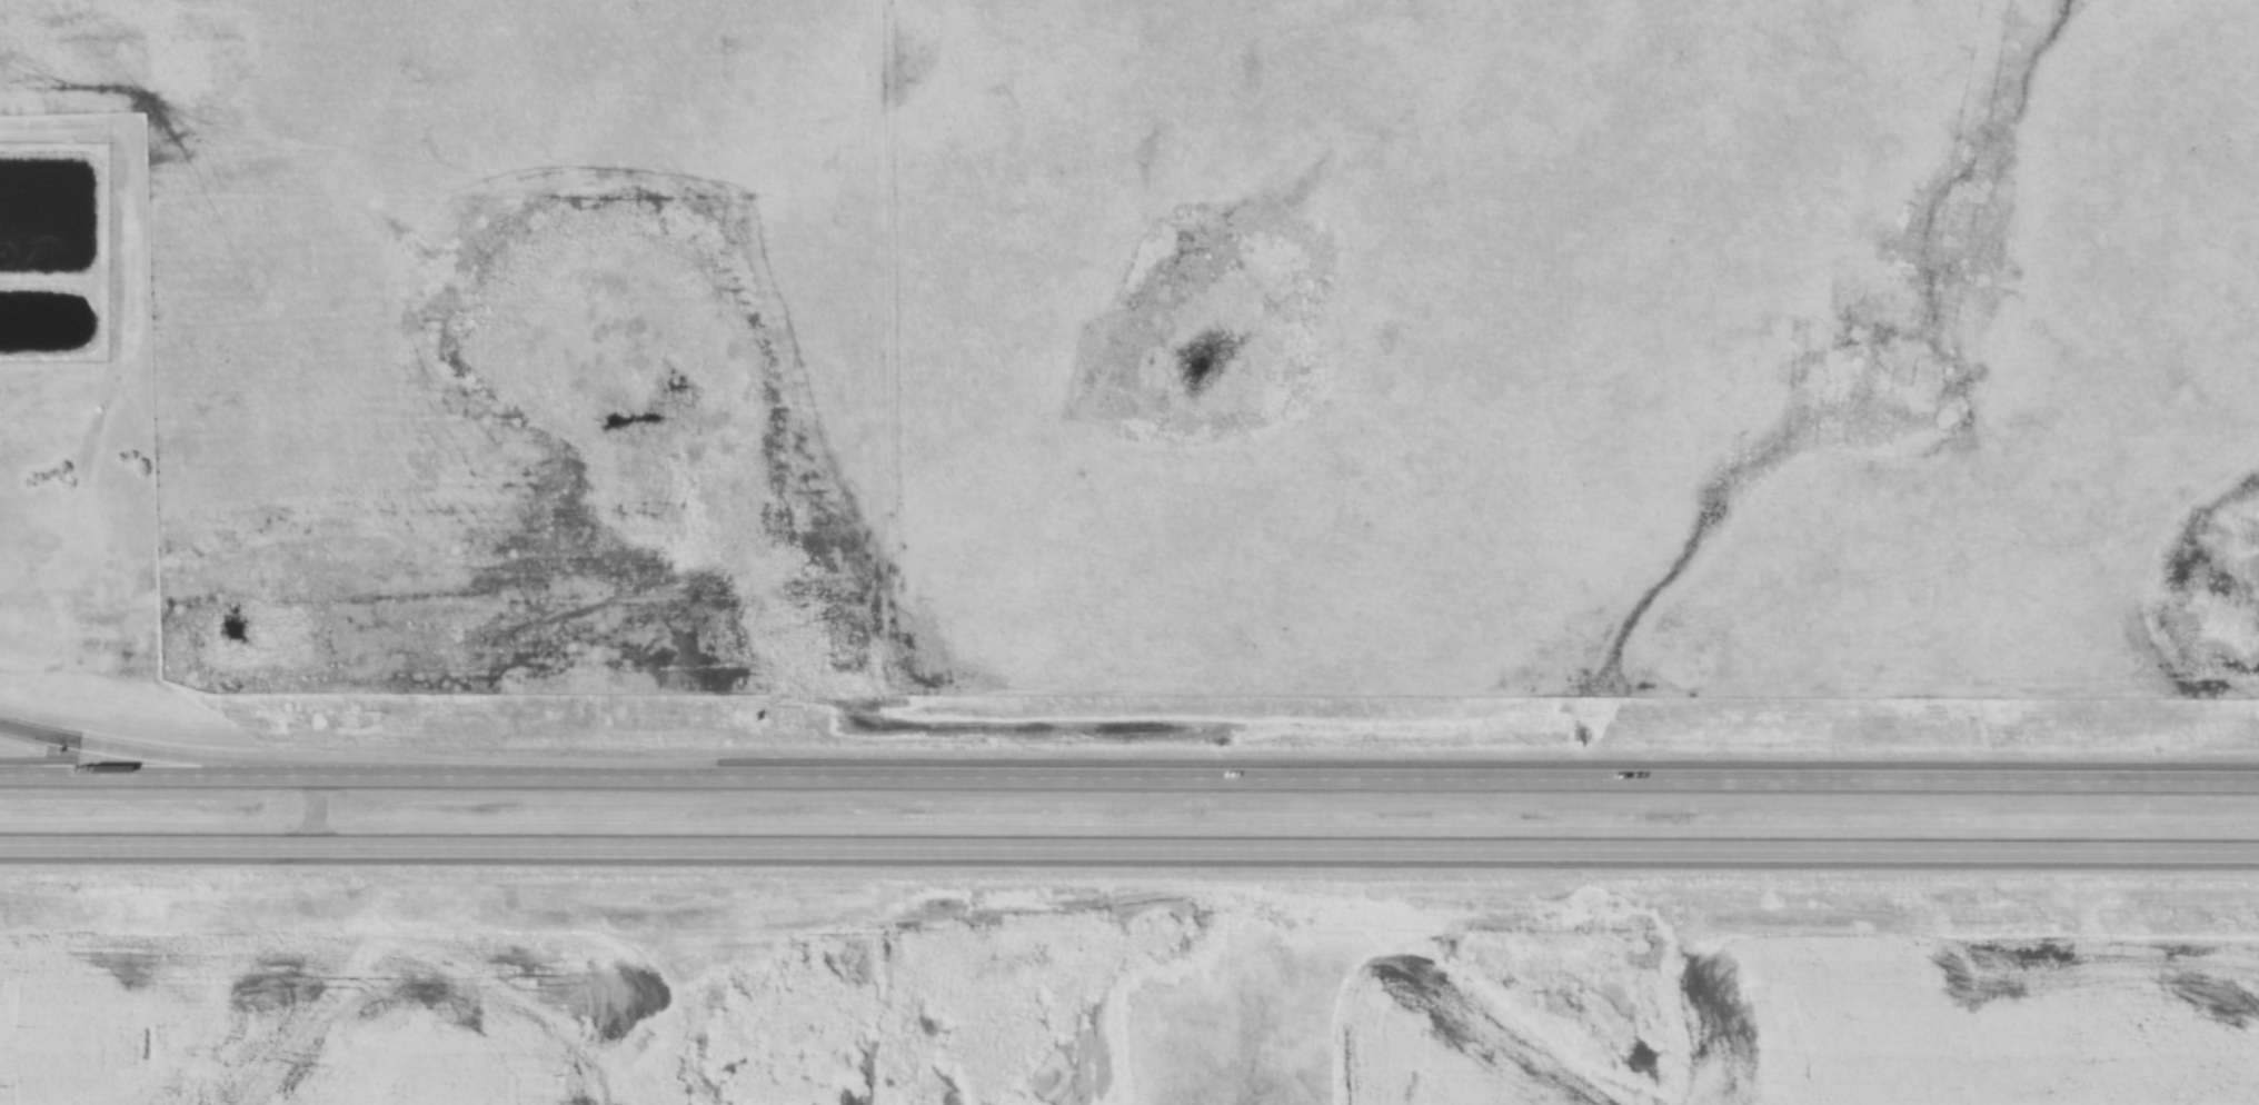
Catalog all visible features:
road: (227, 767)
road: (1128, 780)
road: (1129, 853)

